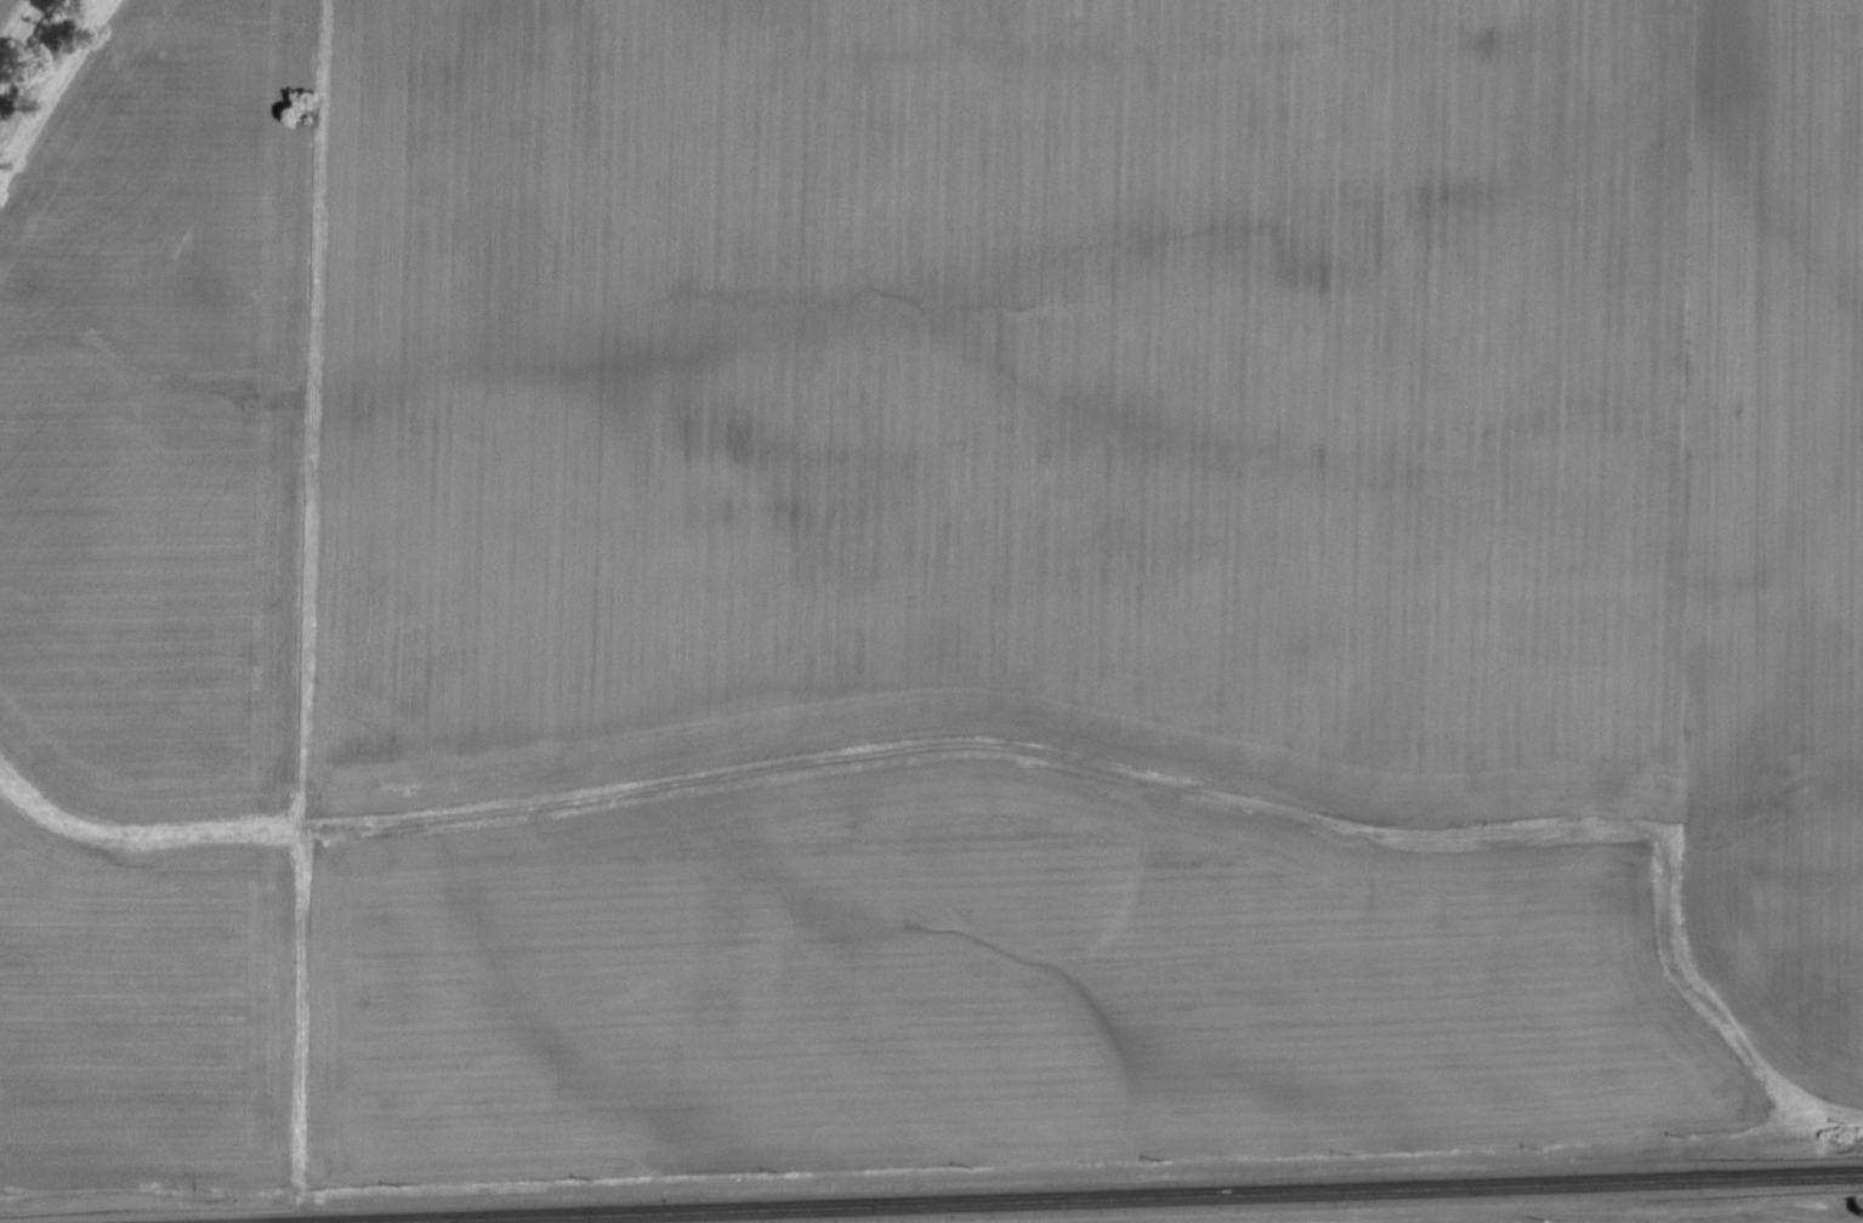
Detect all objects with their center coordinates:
road: (1015, 1196)

